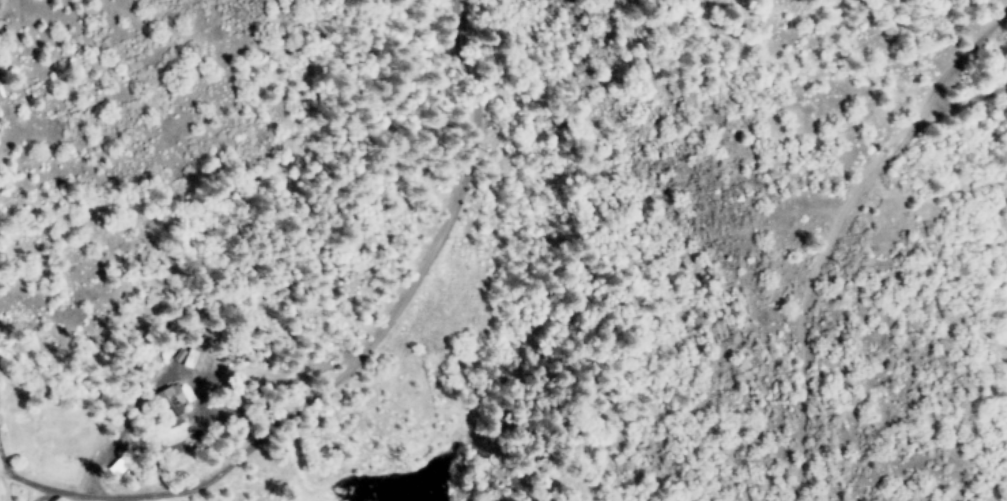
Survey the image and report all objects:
road: (841, 232)
building: (167, 400)

